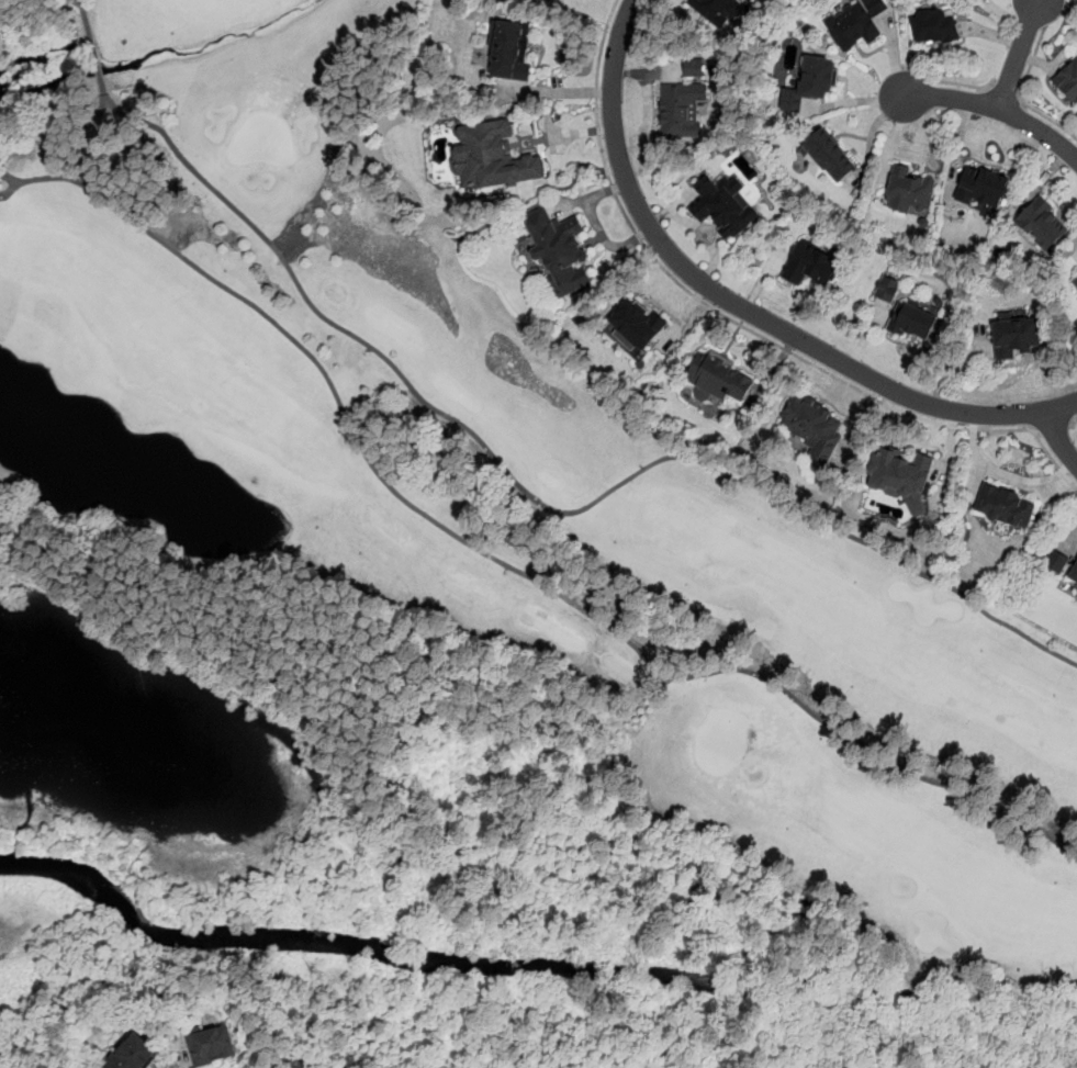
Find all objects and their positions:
building: (749, 0)
road: (1039, 2)
road: (81, 4)
building: (718, 10)
building: (854, 23)
building: (935, 26)
building: (509, 50)
road: (1019, 55)
building: (694, 67)
building: (1068, 81)
building: (811, 82)
road: (962, 85)
road: (1003, 92)
road: (1021, 94)
road: (999, 106)
building: (681, 109)
road: (88, 143)
building: (493, 158)
building: (828, 158)
road: (77, 168)
road: (9, 177)
building: (983, 187)
road: (10, 188)
building: (908, 192)
building: (723, 205)
building: (1040, 223)
building: (557, 250)
building: (812, 262)
building: (1075, 283)
building: (886, 289)
road: (740, 311)
building: (913, 323)
road: (742, 324)
building: (636, 325)
building: (1017, 337)
building: (720, 378)
road: (1074, 421)
building: (810, 427)
road: (1052, 428)
road: (1058, 442)
road: (1005, 473)
building: (899, 476)
road: (539, 502)
building: (1005, 507)
building: (1056, 560)
park: (429, 563)
road: (512, 567)
building: (1074, 575)
building: (1076, 591)
building: (212, 1045)
building: (133, 1053)

